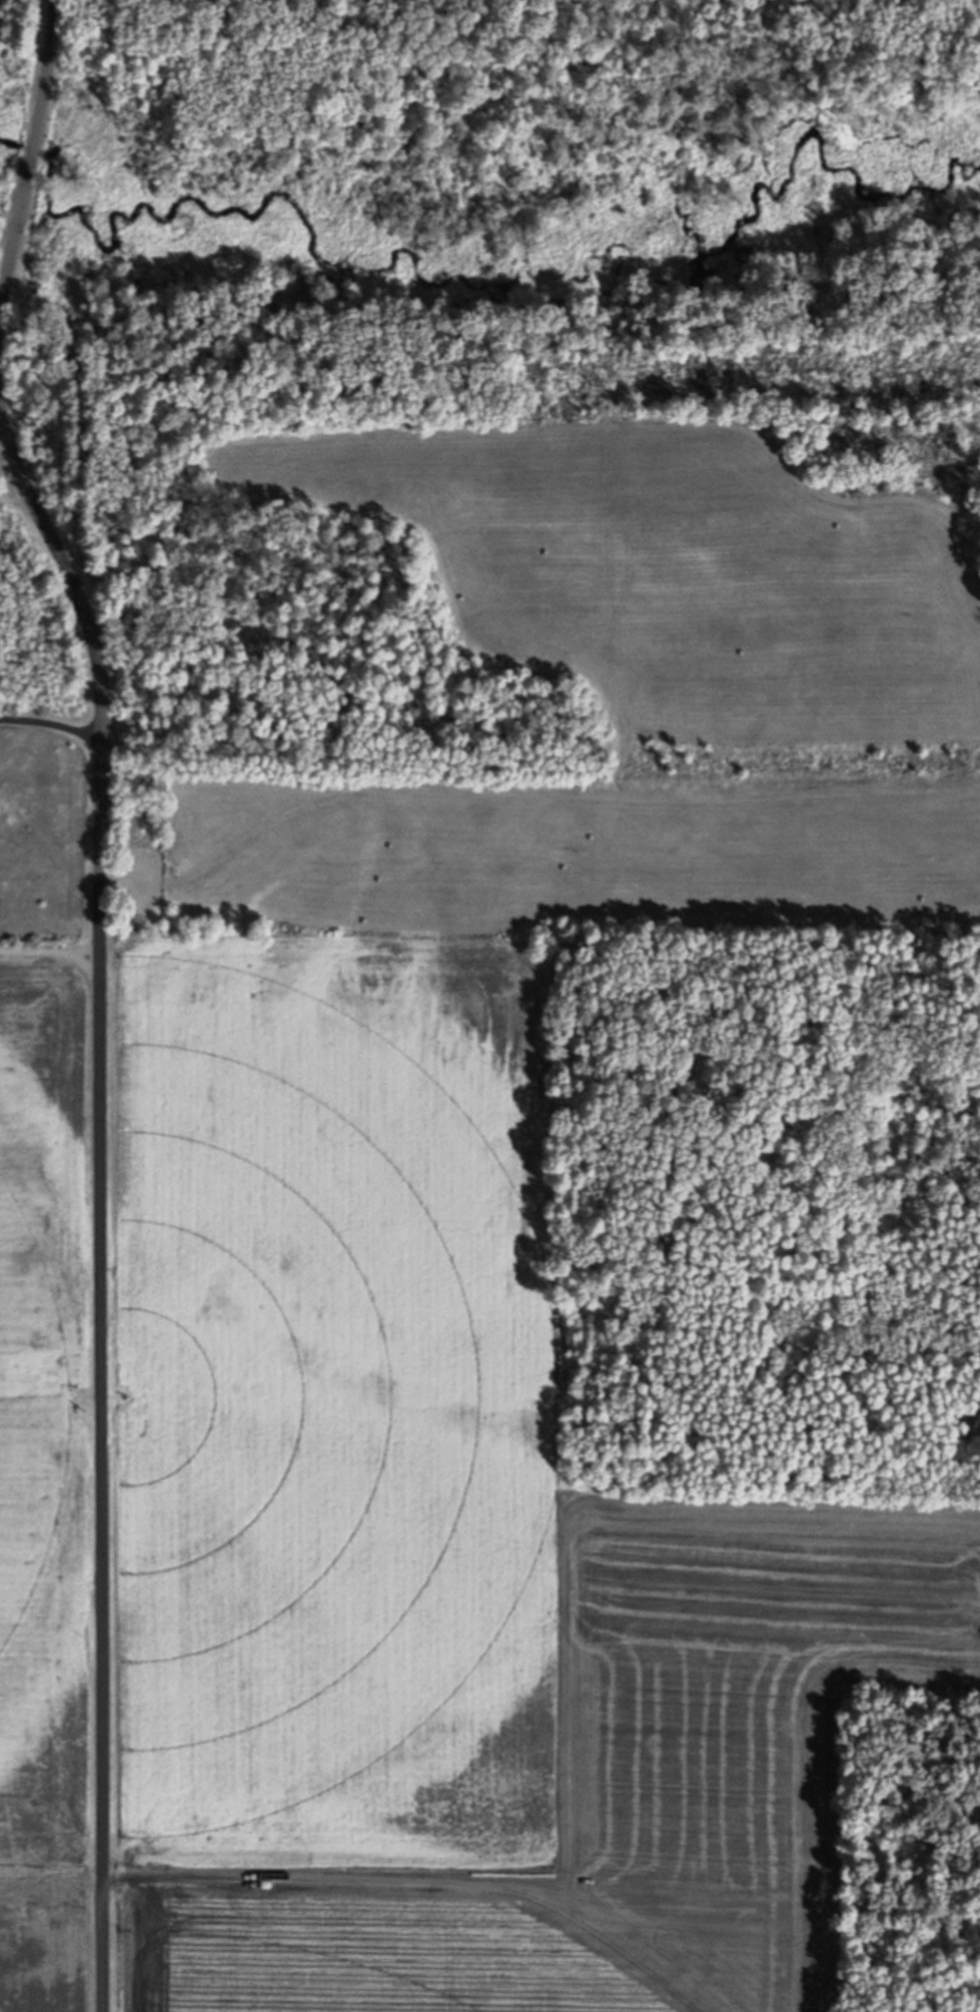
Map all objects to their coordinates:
road: (32, 155)
road: (248, 470)
park: (524, 513)
road: (975, 524)
road: (52, 721)
road: (553, 791)
road: (139, 870)
parking lot: (148, 883)
road: (86, 951)
road: (54, 953)
road: (102, 1203)

